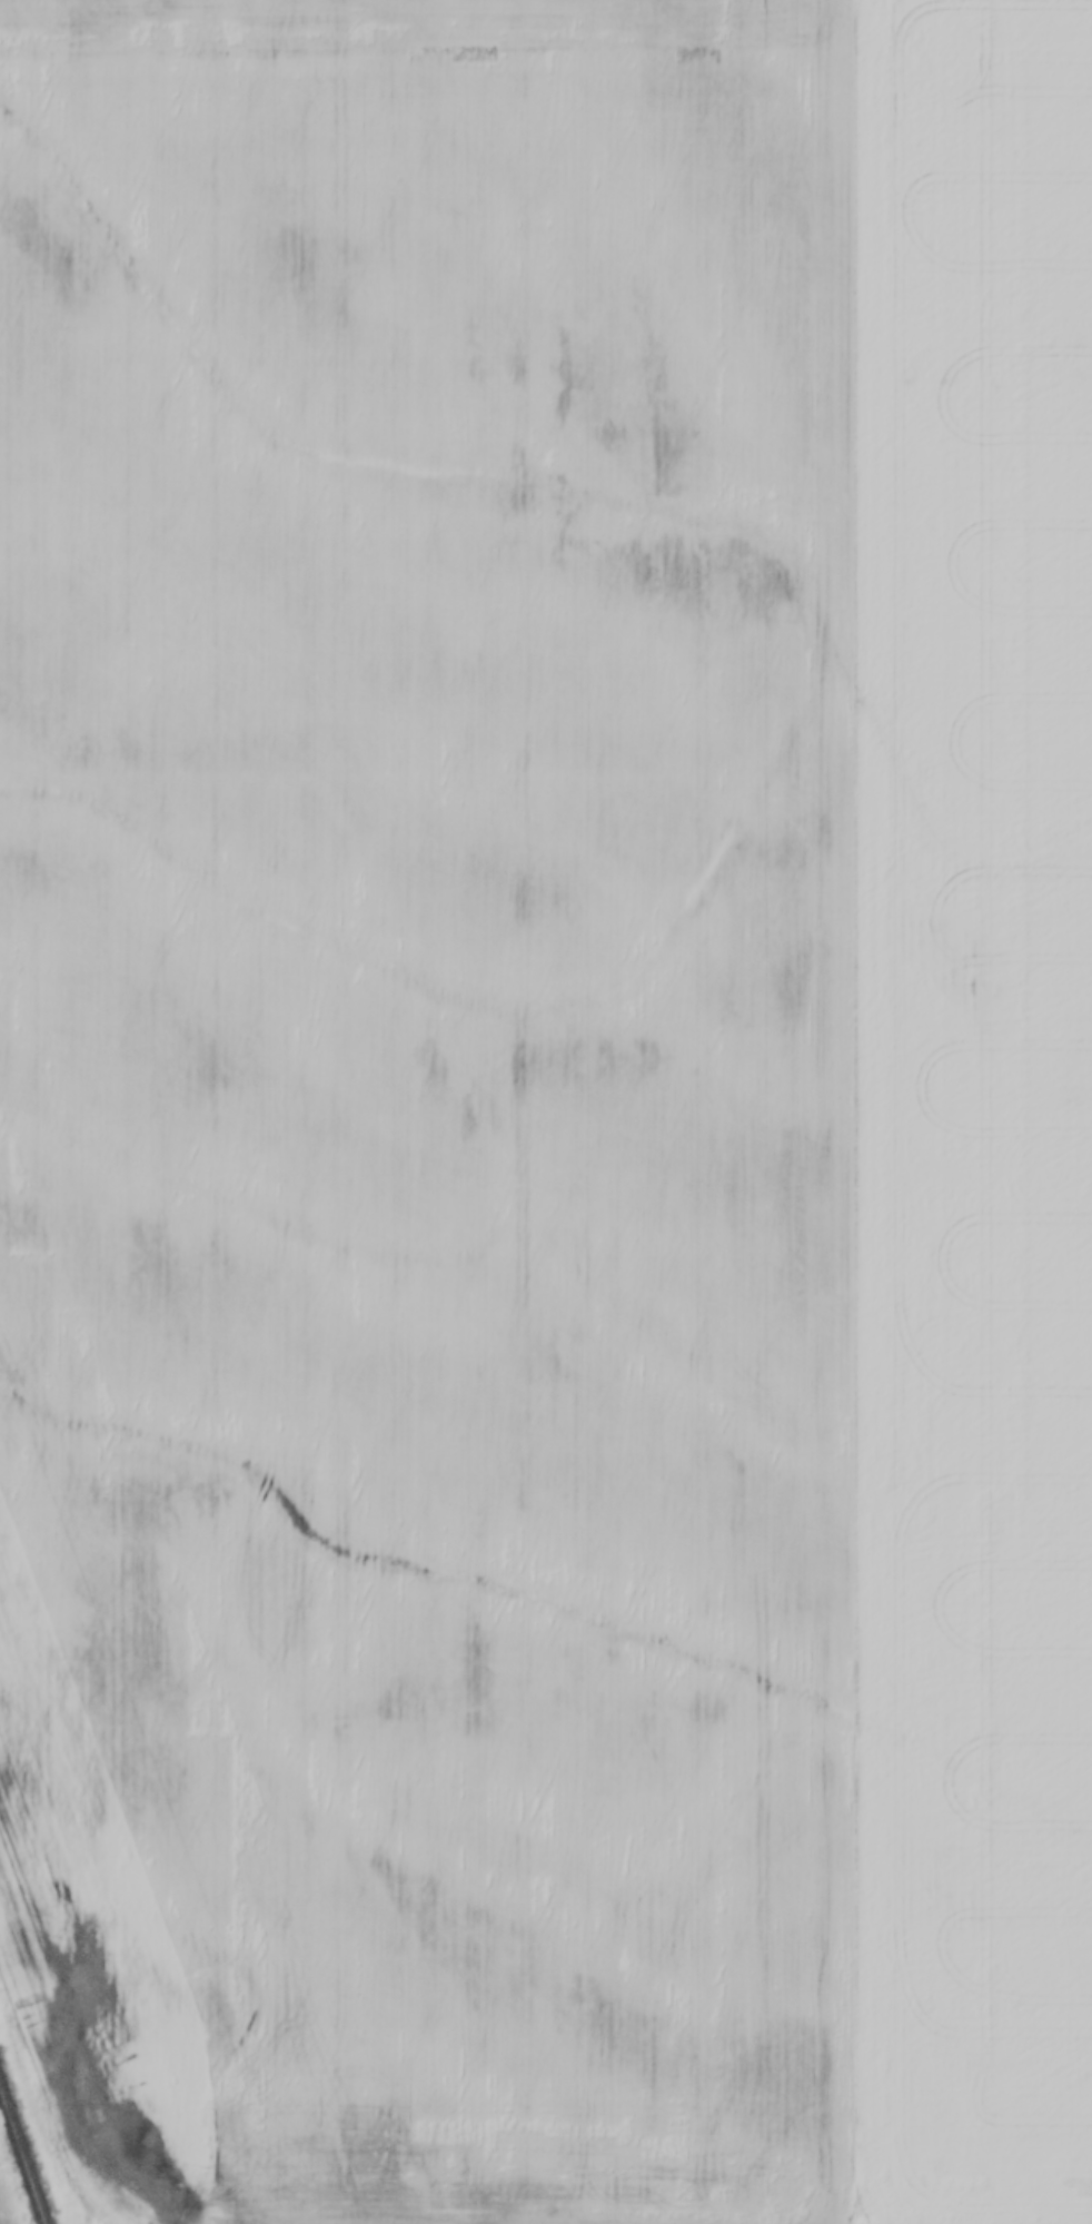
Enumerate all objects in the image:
crop: (430, 1088)
railway: (24, 2153)

